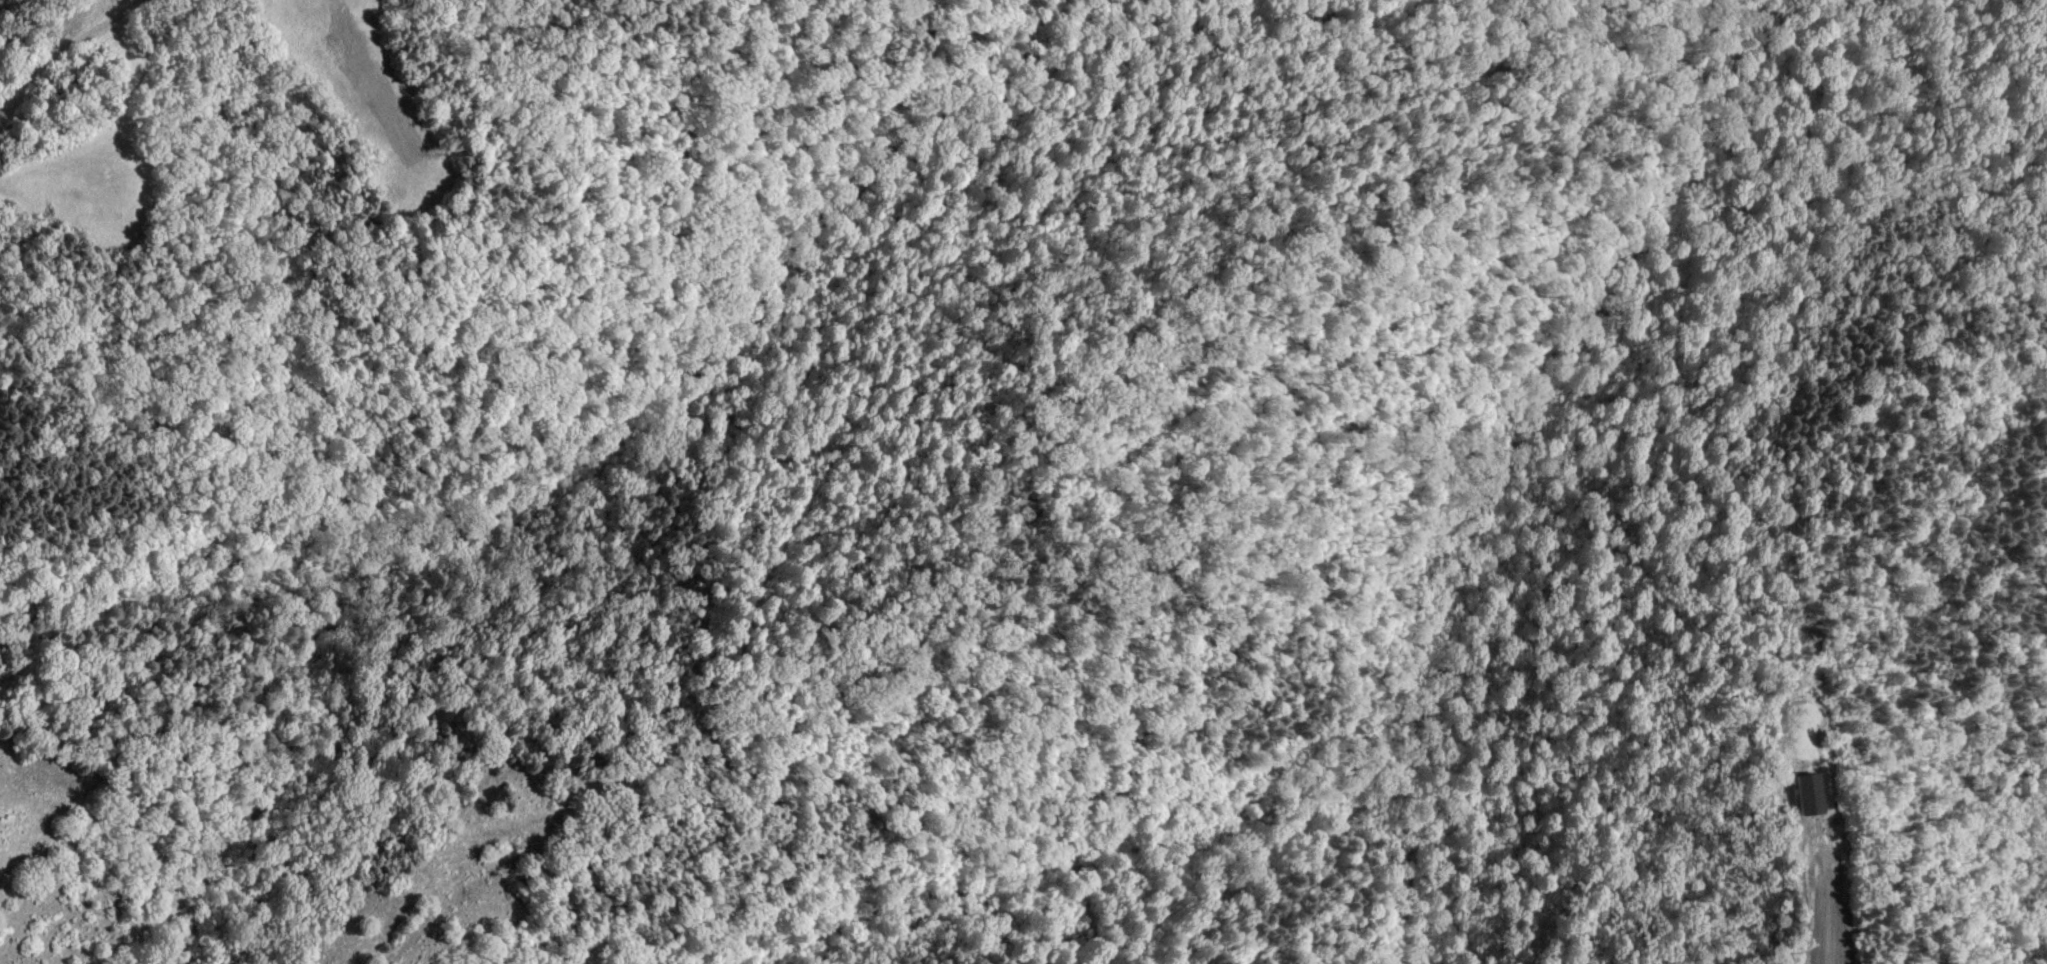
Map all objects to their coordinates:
building: (1802, 794)

